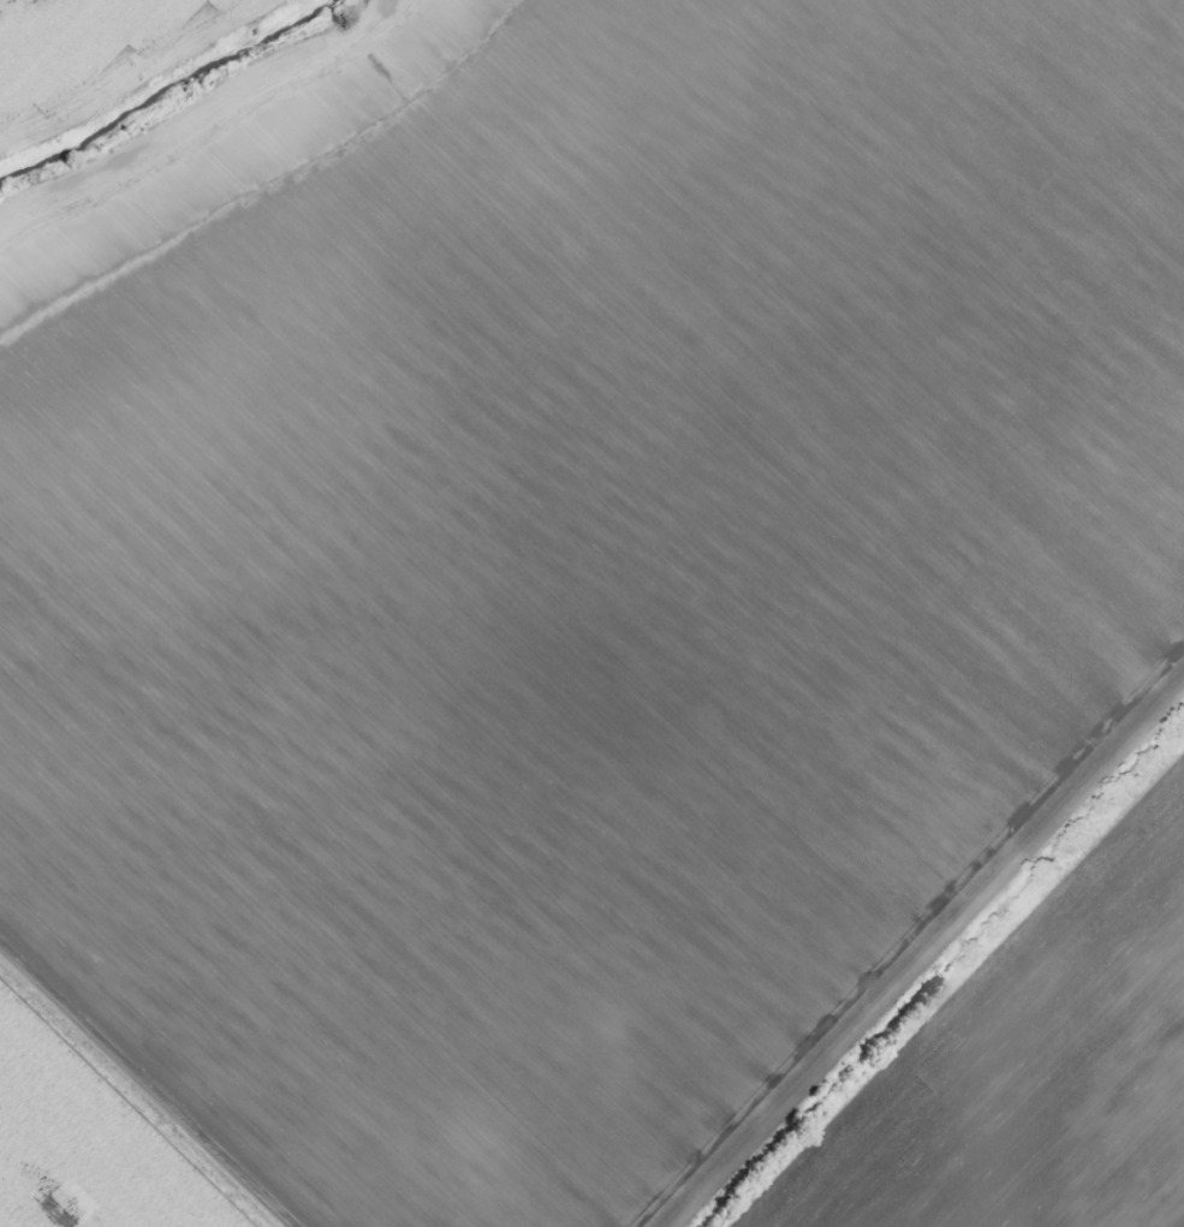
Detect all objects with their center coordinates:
road: (490, 1203)

